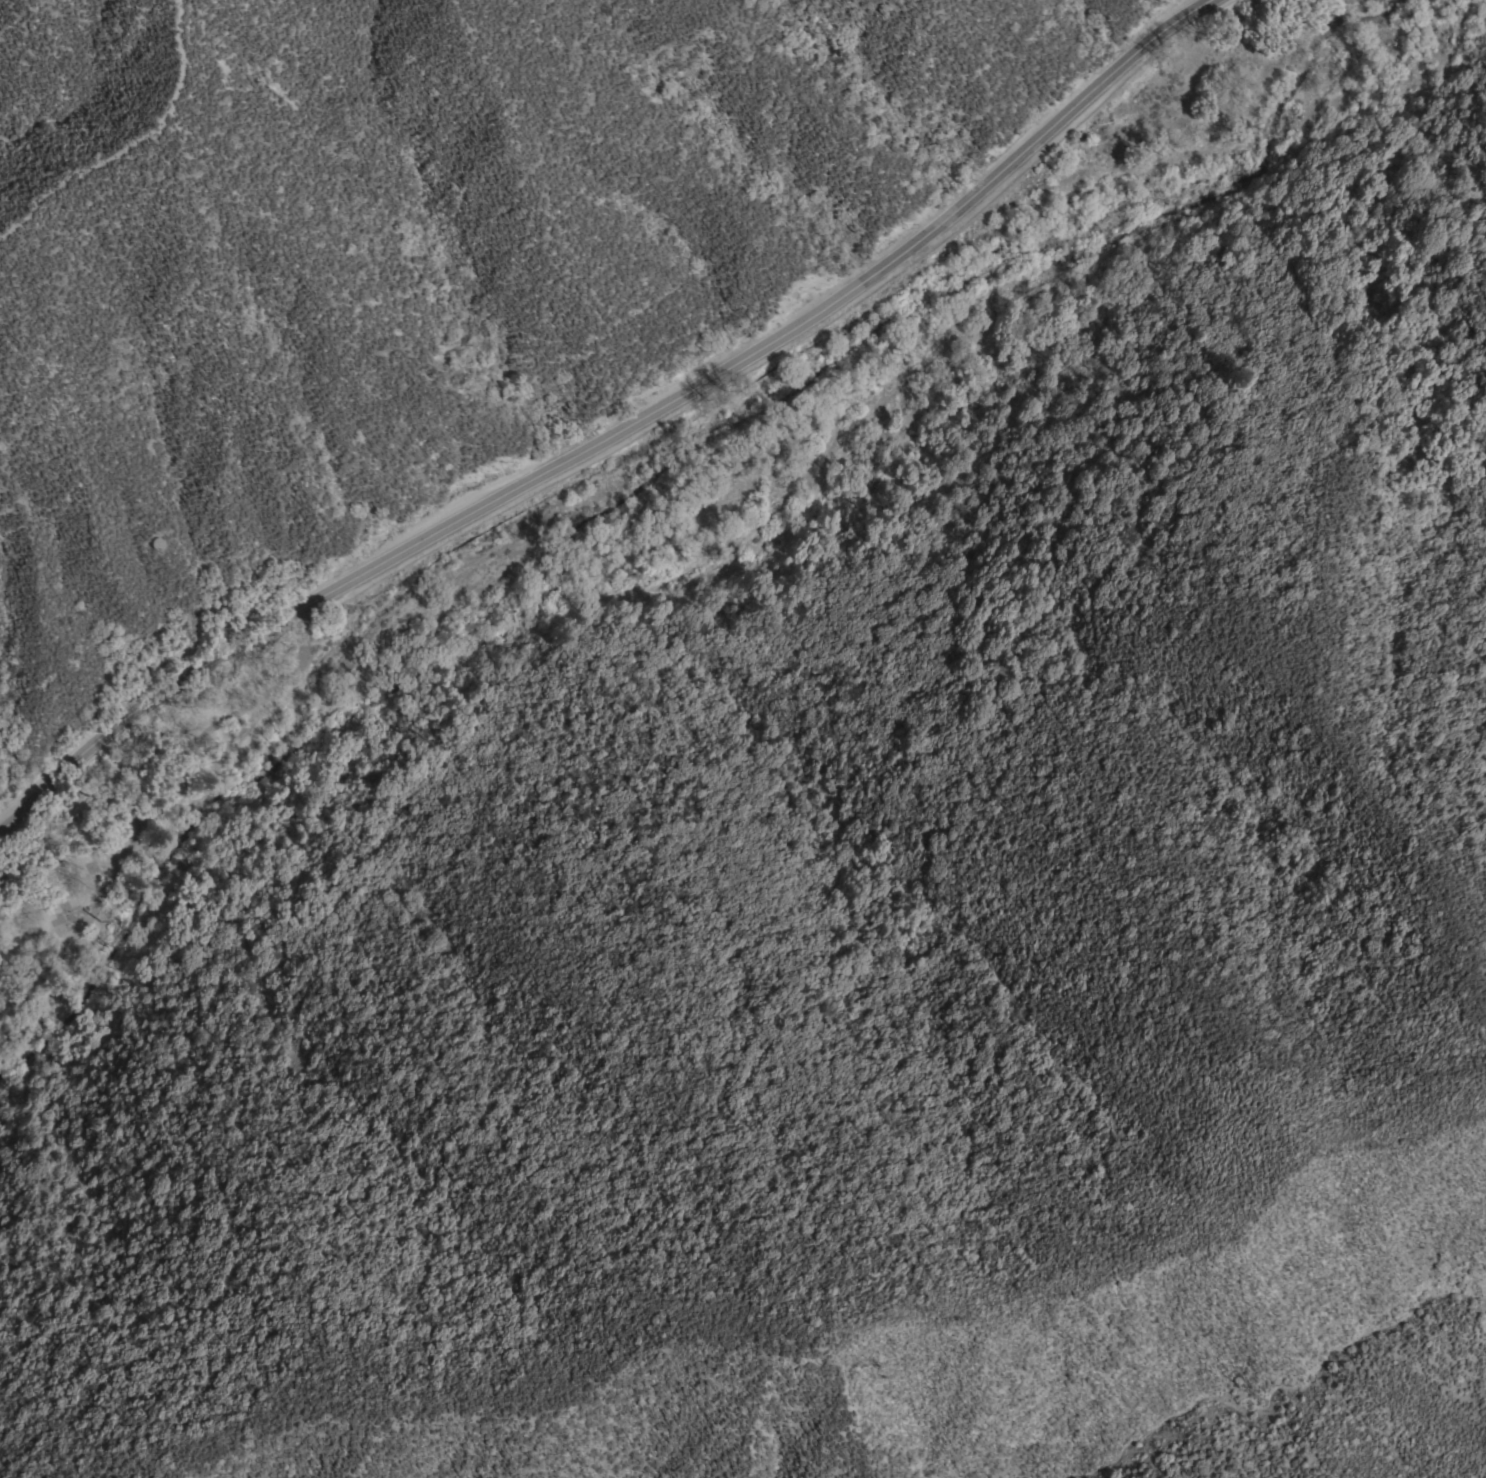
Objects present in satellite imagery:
road: (629, 430)
building: (156, 544)

